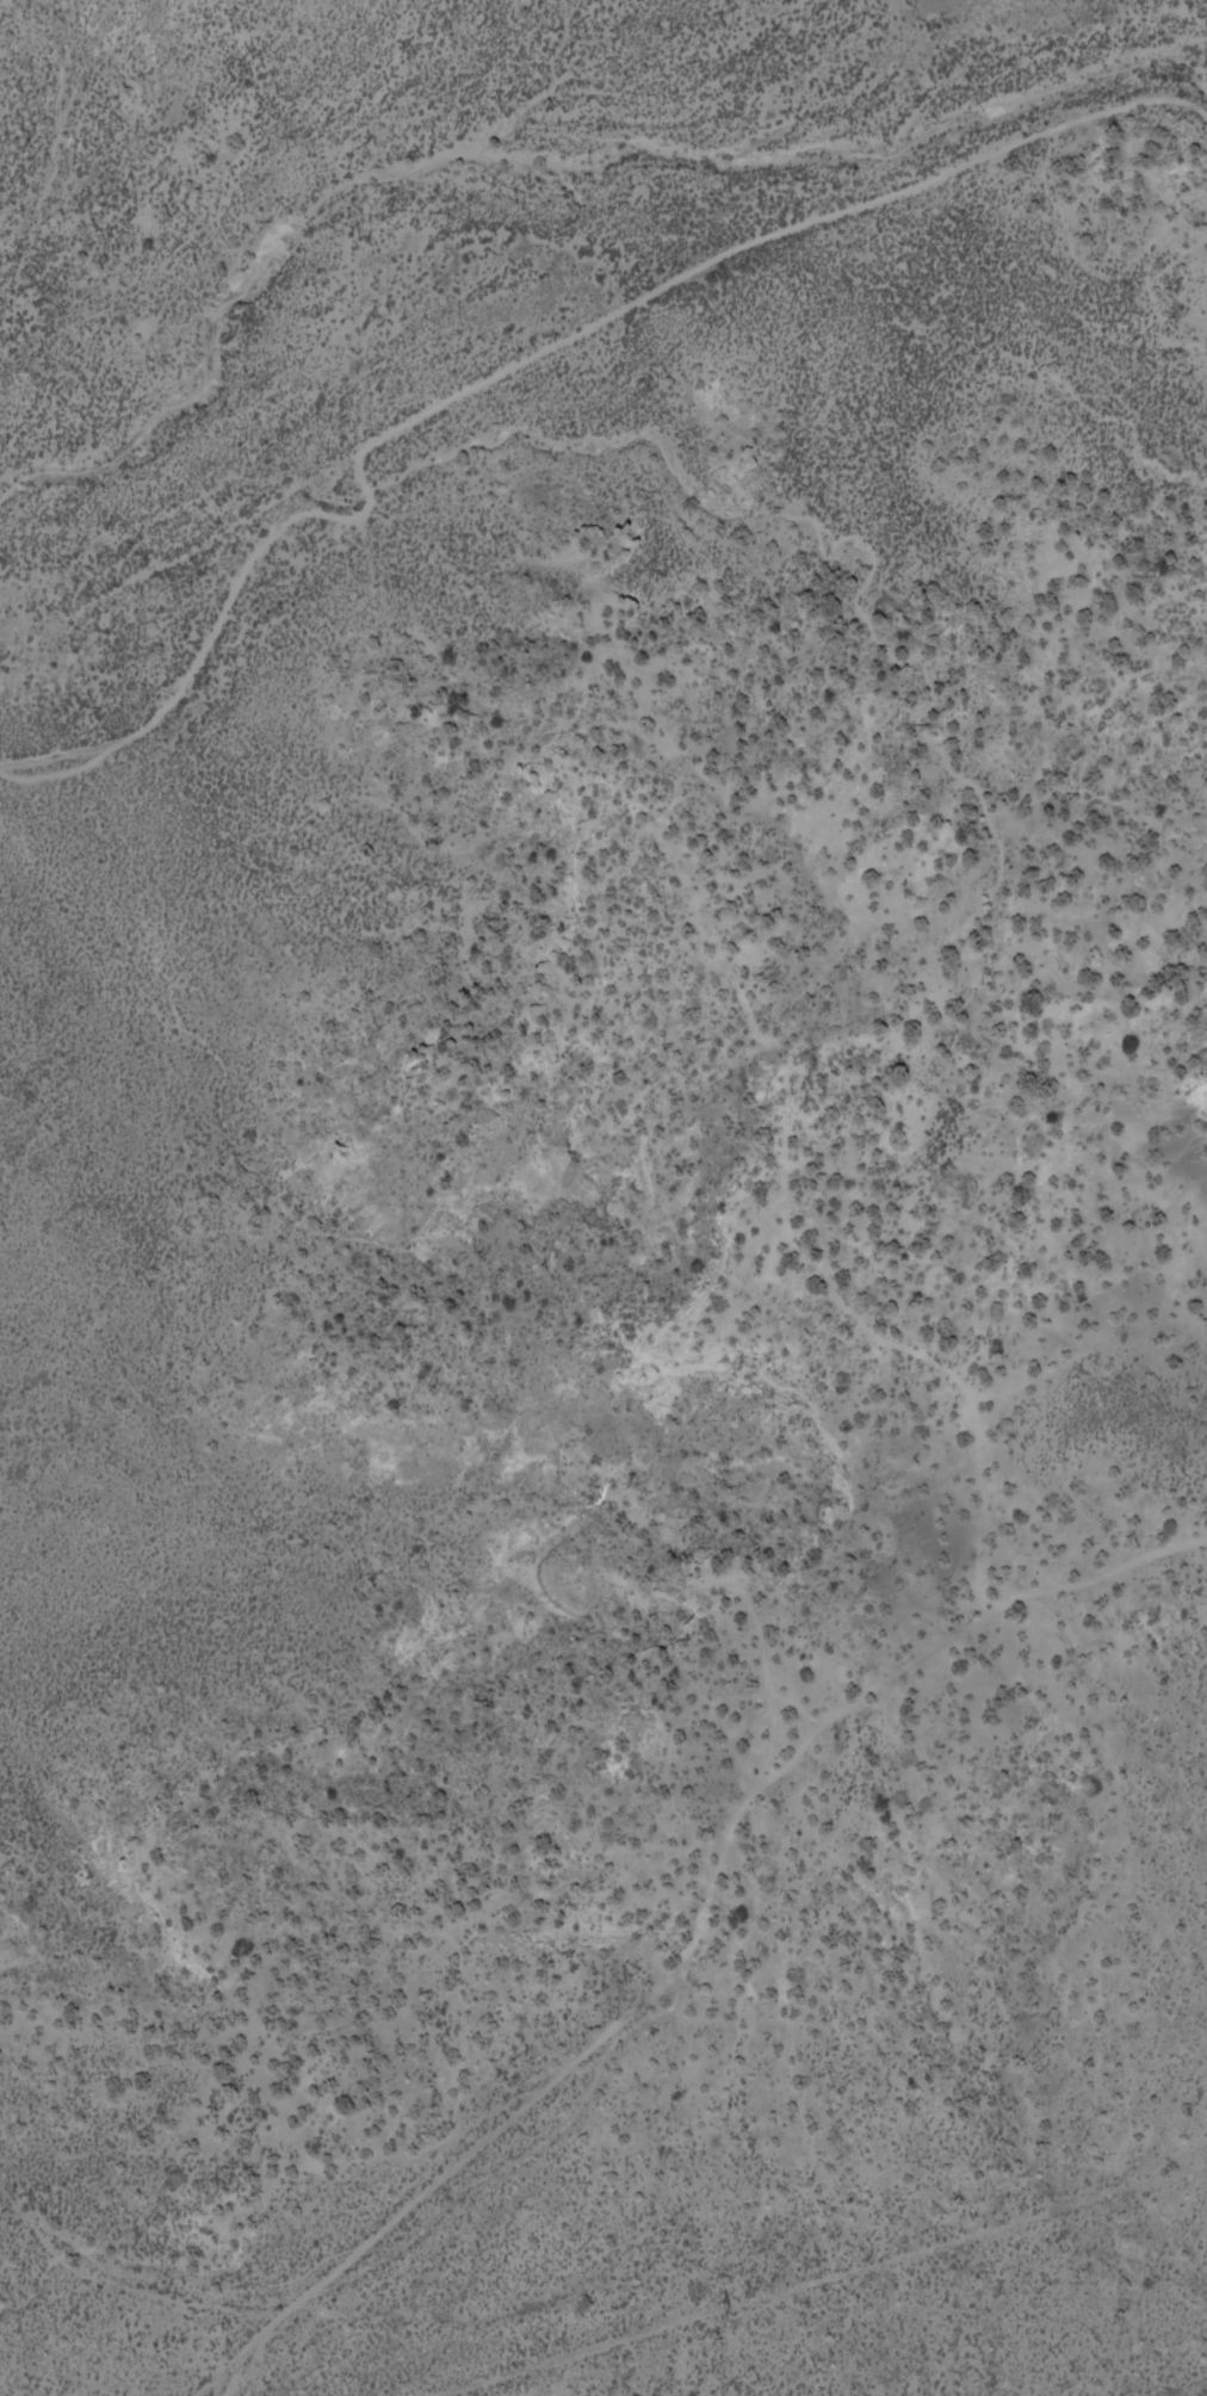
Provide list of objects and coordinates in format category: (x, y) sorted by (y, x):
power tower: (724, 2305)

